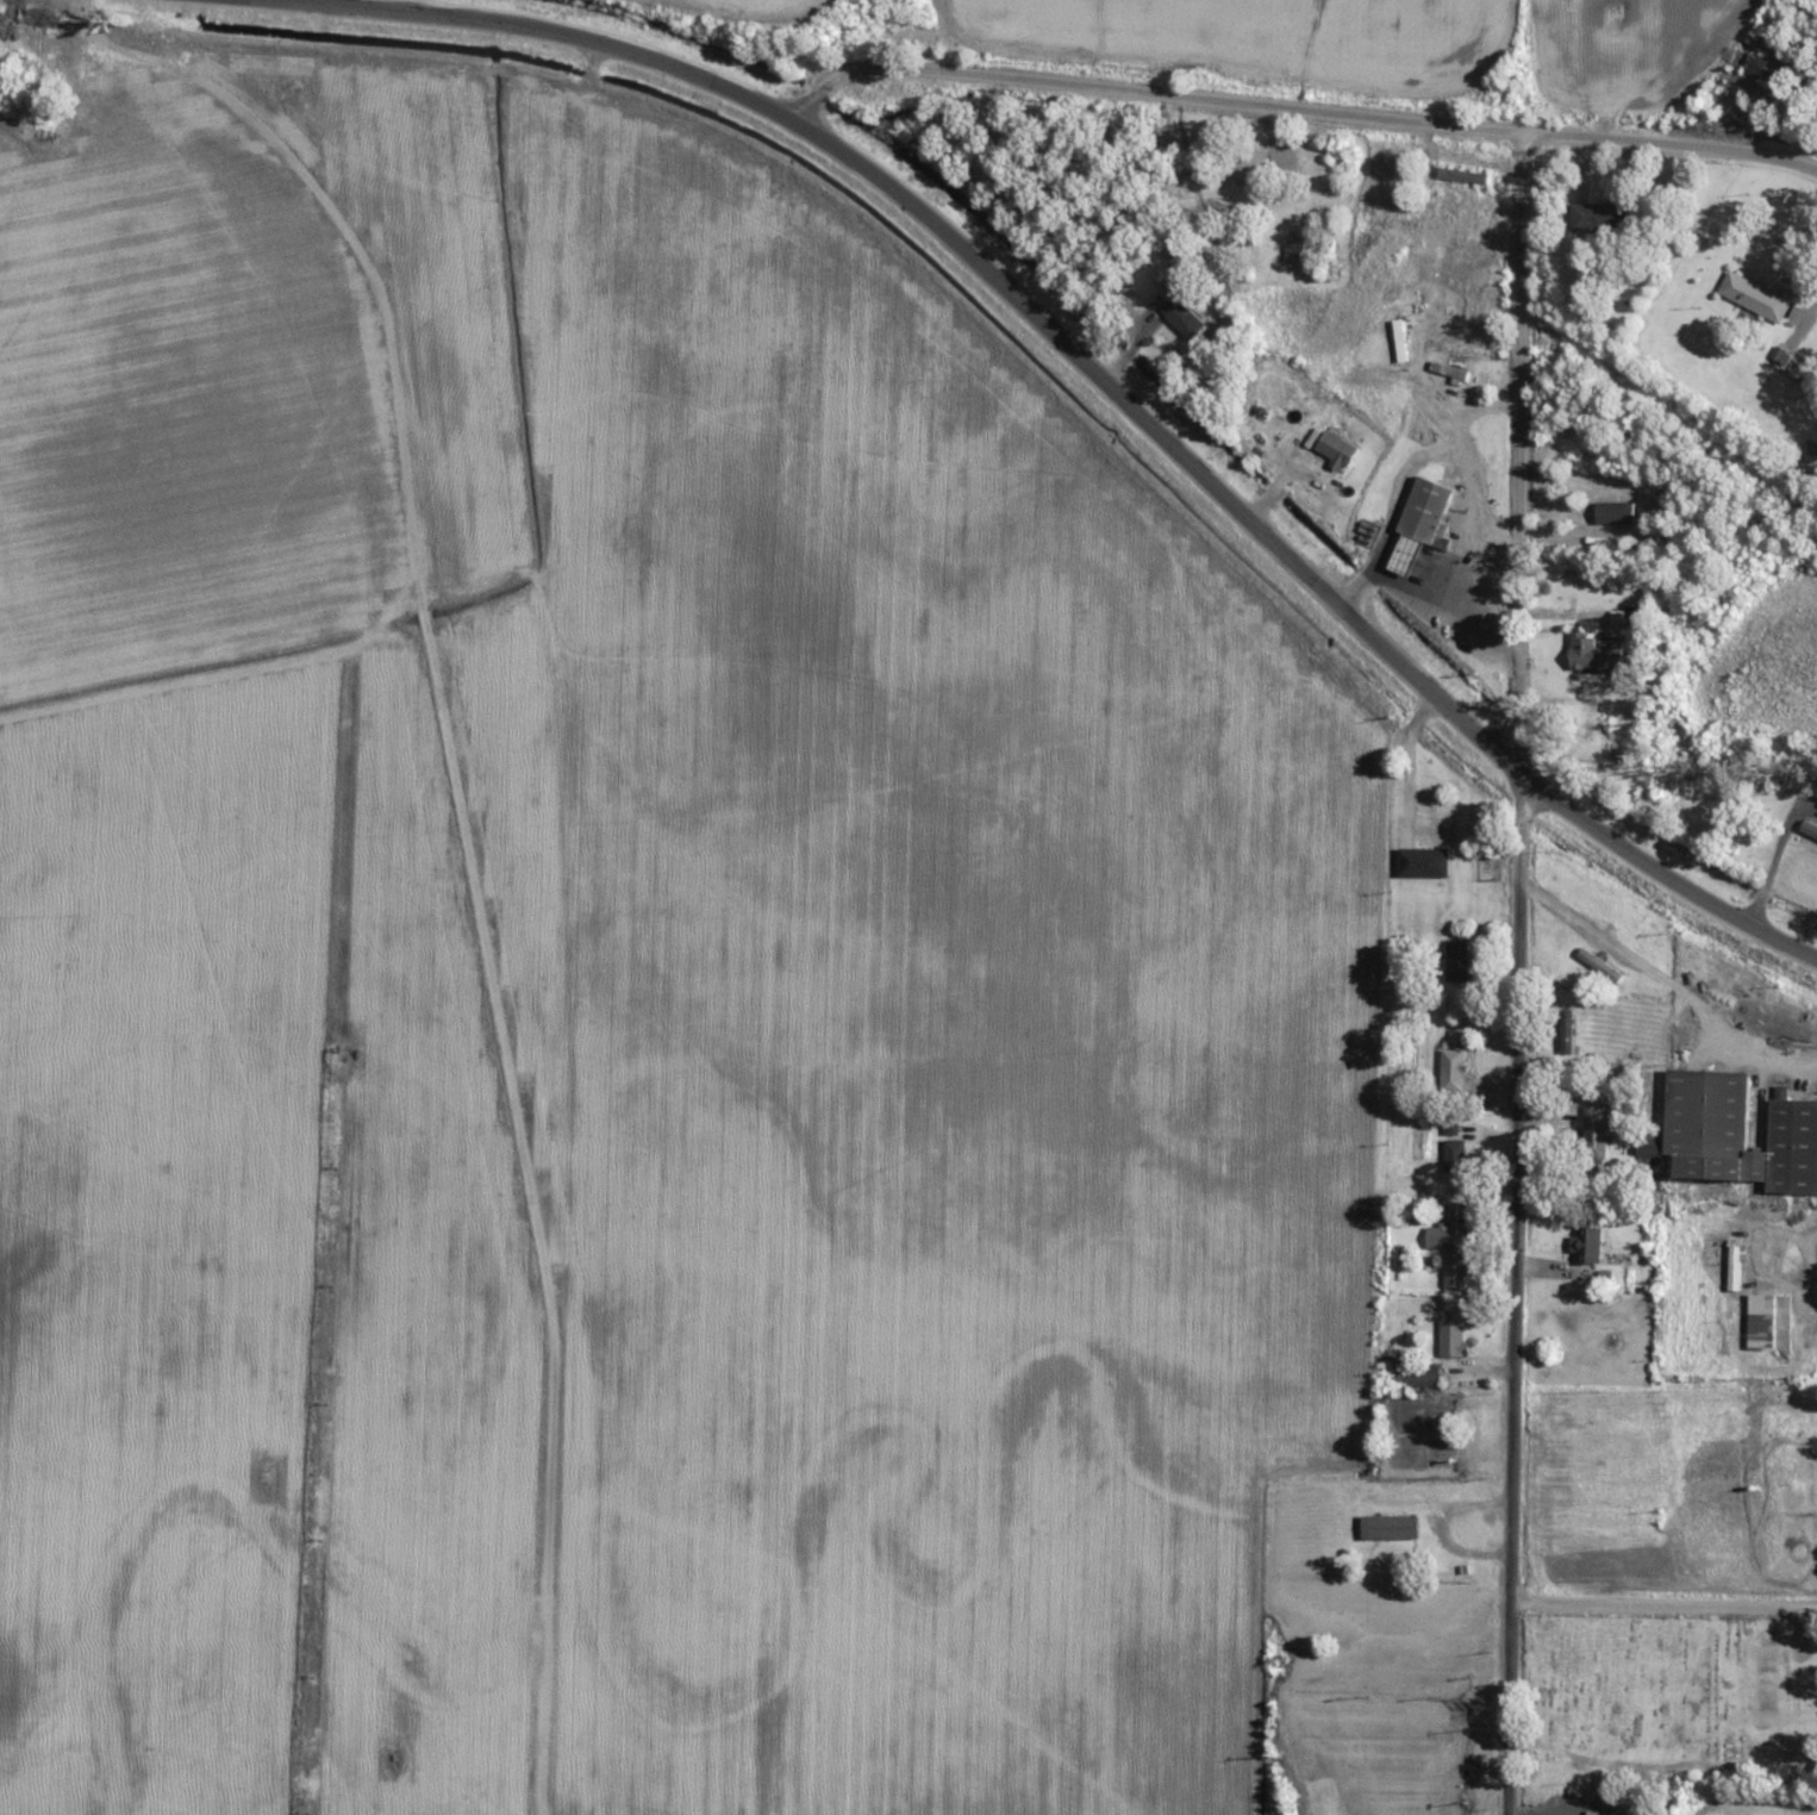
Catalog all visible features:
building: (1806, 11)
road: (542, 27)
building: (1768, 67)
road: (1294, 106)
building: (1248, 168)
building: (1599, 218)
building: (1294, 248)
building: (1754, 297)
building: (1182, 319)
building: (1400, 341)
building: (1630, 419)
road: (1516, 443)
building: (1336, 448)
road: (376, 450)
building: (1616, 513)
building: (1423, 523)
road: (1291, 560)
building: (1634, 615)
building: (1597, 653)
road: (1398, 751)
building: (1423, 862)
building: (1456, 960)
building: (1566, 1031)
building: (1453, 1071)
building: (1738, 1133)
building: (1596, 1137)
building: (1456, 1154)
road: (525, 1195)
building: (1587, 1243)
building: (1451, 1245)
road: (1515, 1295)
building: (1763, 1321)
building: (1453, 1339)
building: (1424, 1374)
building: (1390, 1527)
road: (1661, 1603)
building: (1596, 1814)

